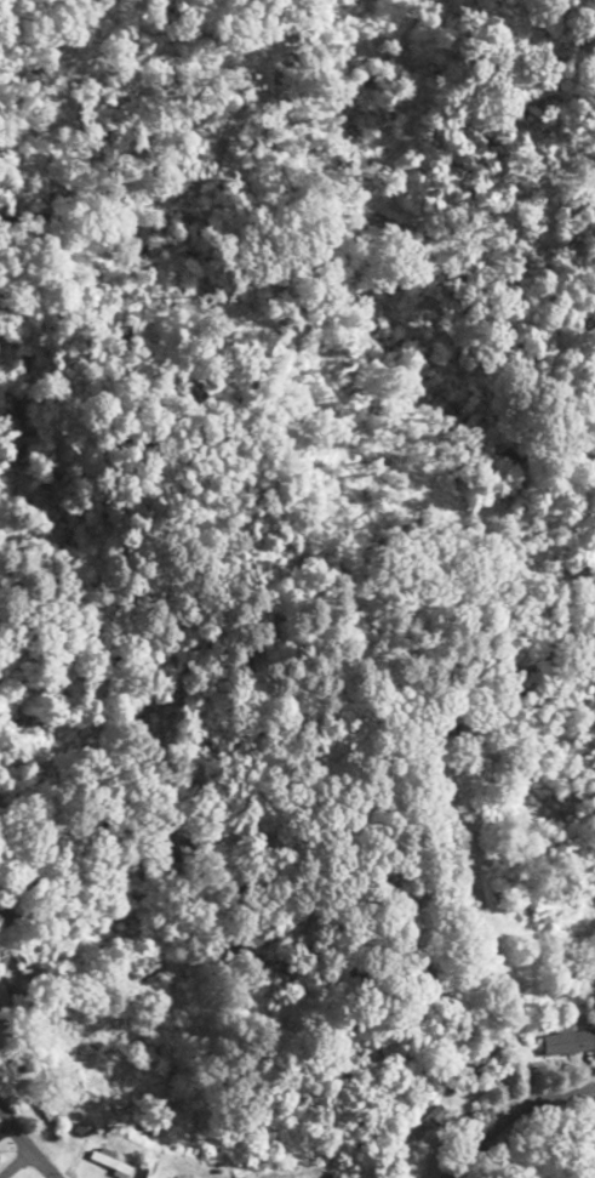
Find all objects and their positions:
building: (444, 796)
building: (4, 1001)
building: (561, 1043)
building: (467, 1068)
building: (48, 1120)
building: (420, 1123)
road: (25, 1150)
road: (18, 1167)

